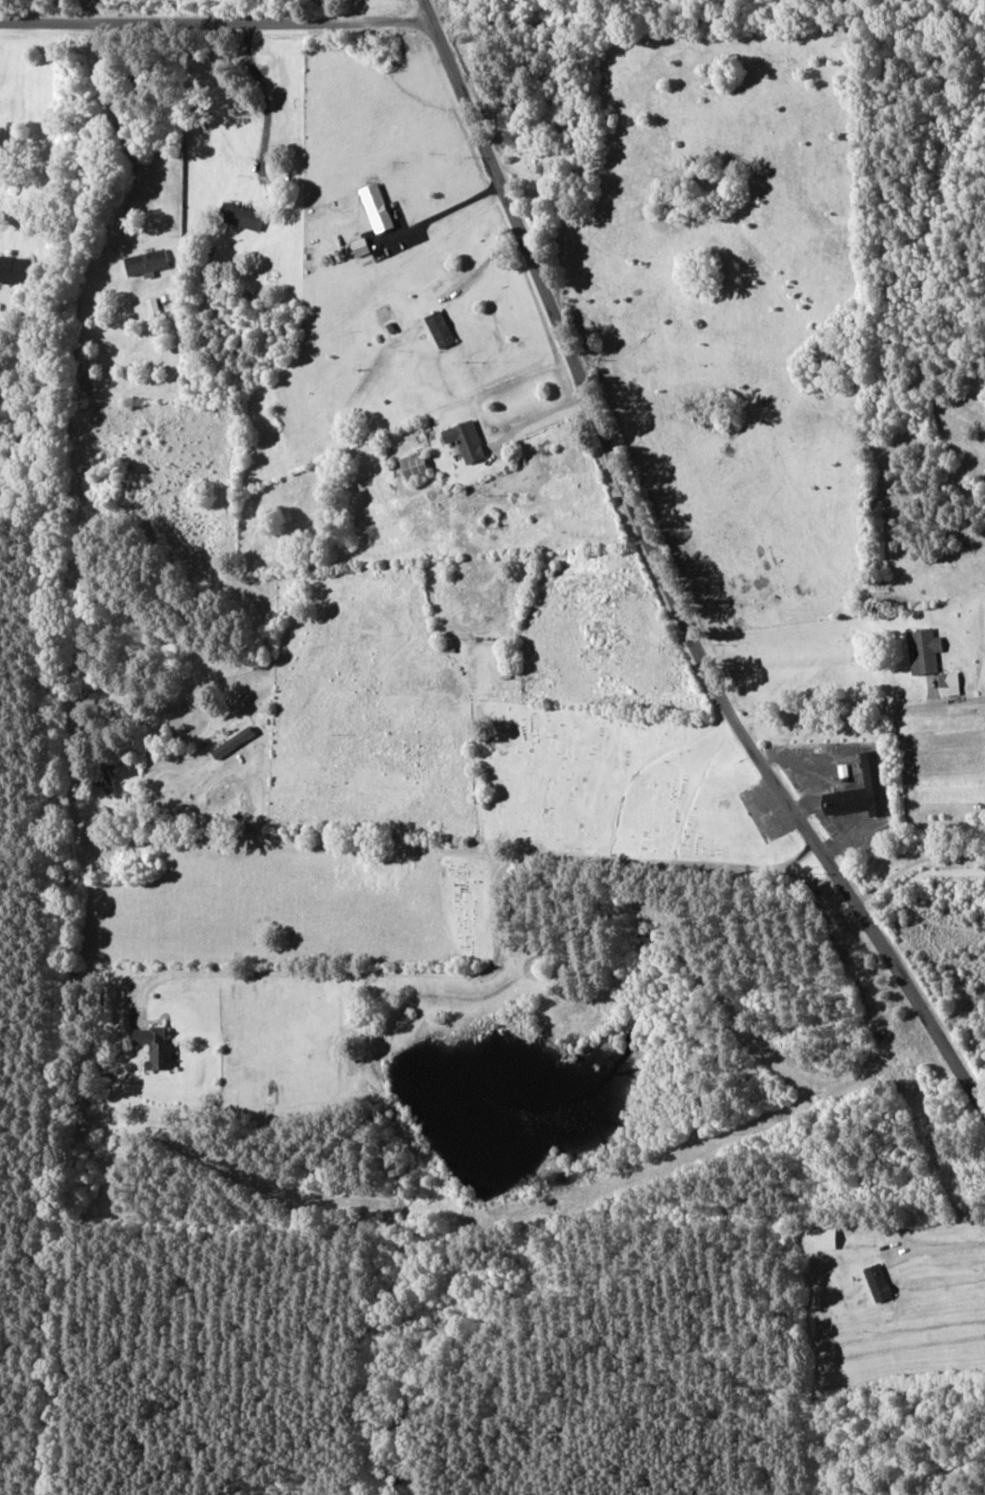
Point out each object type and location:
road: (221, 5)
building: (378, 207)
building: (244, 215)
building: (362, 246)
building: (148, 262)
building: (15, 269)
building: (154, 305)
building: (441, 328)
building: (464, 439)
building: (413, 465)
road: (682, 563)
building: (921, 648)
building: (952, 683)
road: (866, 692)
building: (859, 788)
building: (151, 1044)
building: (820, 1235)
building: (877, 1281)
road: (888, 1452)

